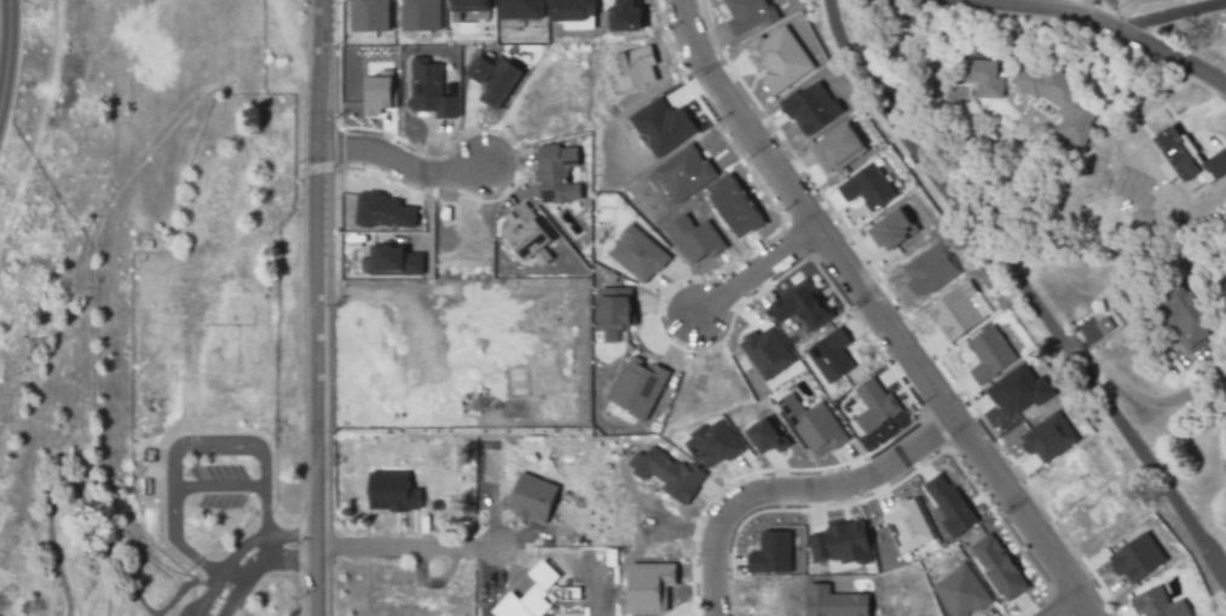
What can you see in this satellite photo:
building: (469, 6)
building: (521, 8)
building: (571, 10)
building: (420, 14)
building: (625, 14)
building: (747, 14)
building: (370, 16)
road: (1168, 17)
road: (1110, 29)
road: (6, 48)
building: (777, 58)
building: (632, 68)
building: (493, 79)
building: (984, 79)
building: (430, 88)
building: (377, 92)
building: (1060, 100)
building: (810, 107)
building: (661, 126)
building: (837, 147)
road: (400, 159)
building: (1186, 161)
building: (686, 169)
building: (556, 174)
building: (867, 187)
building: (734, 205)
building: (517, 211)
building: (389, 213)
building: (891, 229)
building: (694, 238)
building: (637, 254)
building: (394, 261)
road: (762, 269)
building: (927, 271)
road: (1031, 300)
road: (324, 307)
building: (799, 307)
building: (615, 308)
building: (958, 310)
road: (878, 312)
building: (1187, 318)
building: (1104, 326)
building: (767, 351)
building: (989, 354)
building: (831, 355)
building: (637, 385)
building: (1018, 390)
building: (873, 405)
building: (812, 425)
building: (764, 436)
building: (1047, 437)
building: (712, 444)
building: (345, 446)
road: (187, 447)
building: (667, 473)
road: (218, 487)
road: (793, 496)
building: (532, 498)
building: (949, 505)
building: (908, 524)
building: (624, 541)
building: (840, 544)
road: (400, 548)
building: (771, 552)
building: (1135, 558)
building: (621, 563)
road: (117, 566)
road: (255, 566)
building: (997, 566)
building: (961, 591)
building: (834, 602)
building: (1157, 604)
road: (1089, 614)

